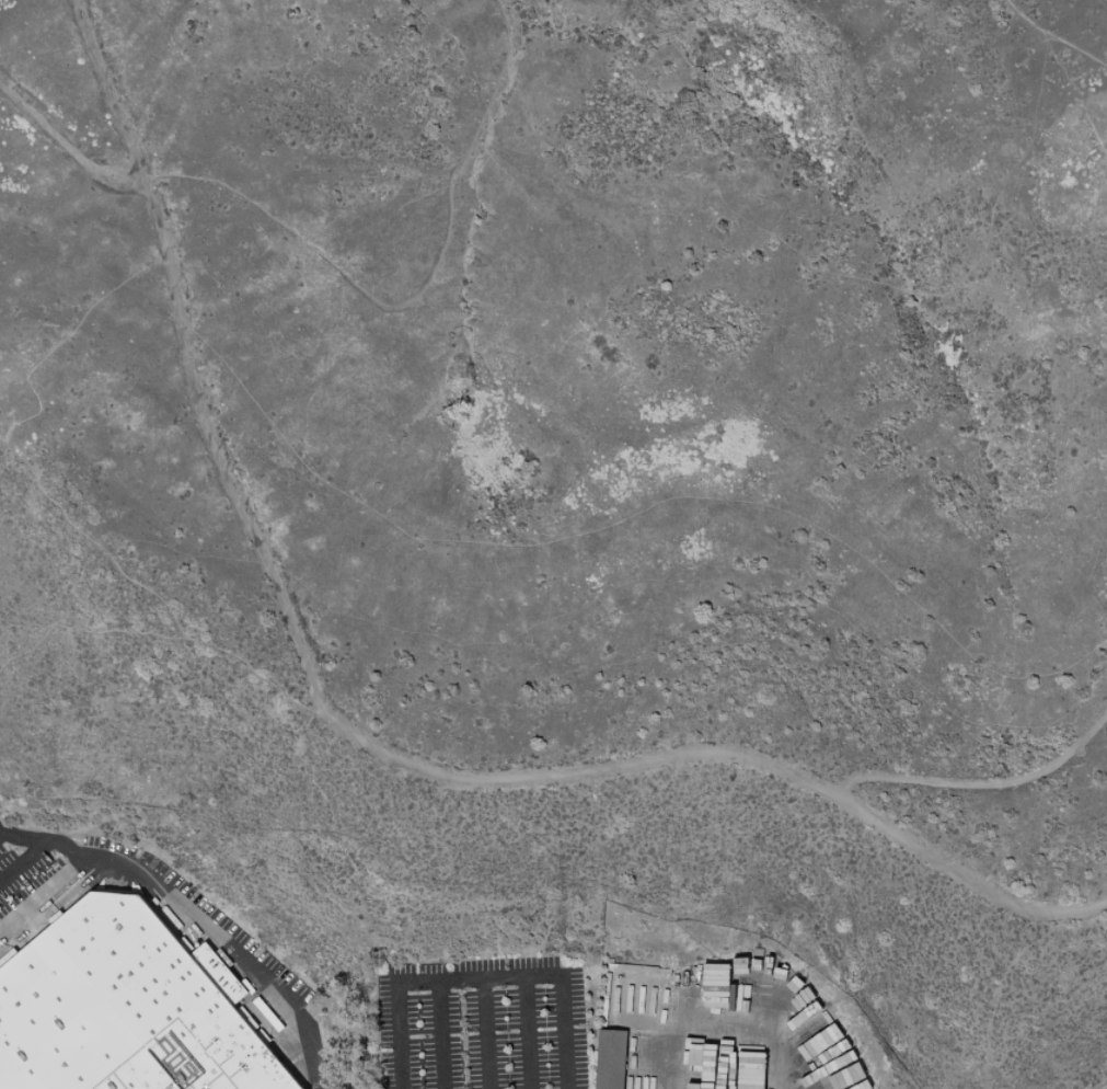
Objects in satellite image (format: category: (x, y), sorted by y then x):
road: (1052, 37)
road: (103, 90)
road: (414, 294)
road: (629, 517)
road: (365, 738)
road: (982, 783)
road: (23, 858)
road: (91, 869)
road: (235, 953)
road: (482, 977)
building: (800, 1000)
building: (126, 1009)
building: (819, 1016)
road: (482, 1033)
road: (527, 1033)
road: (438, 1034)
building: (829, 1036)
building: (607, 1059)
building: (808, 1066)
building: (834, 1076)

